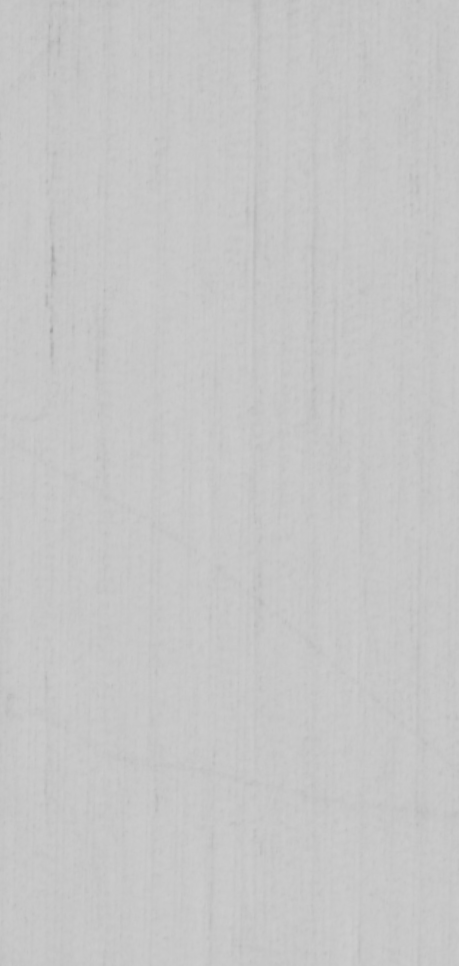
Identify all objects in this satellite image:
crop: (229, 483)

